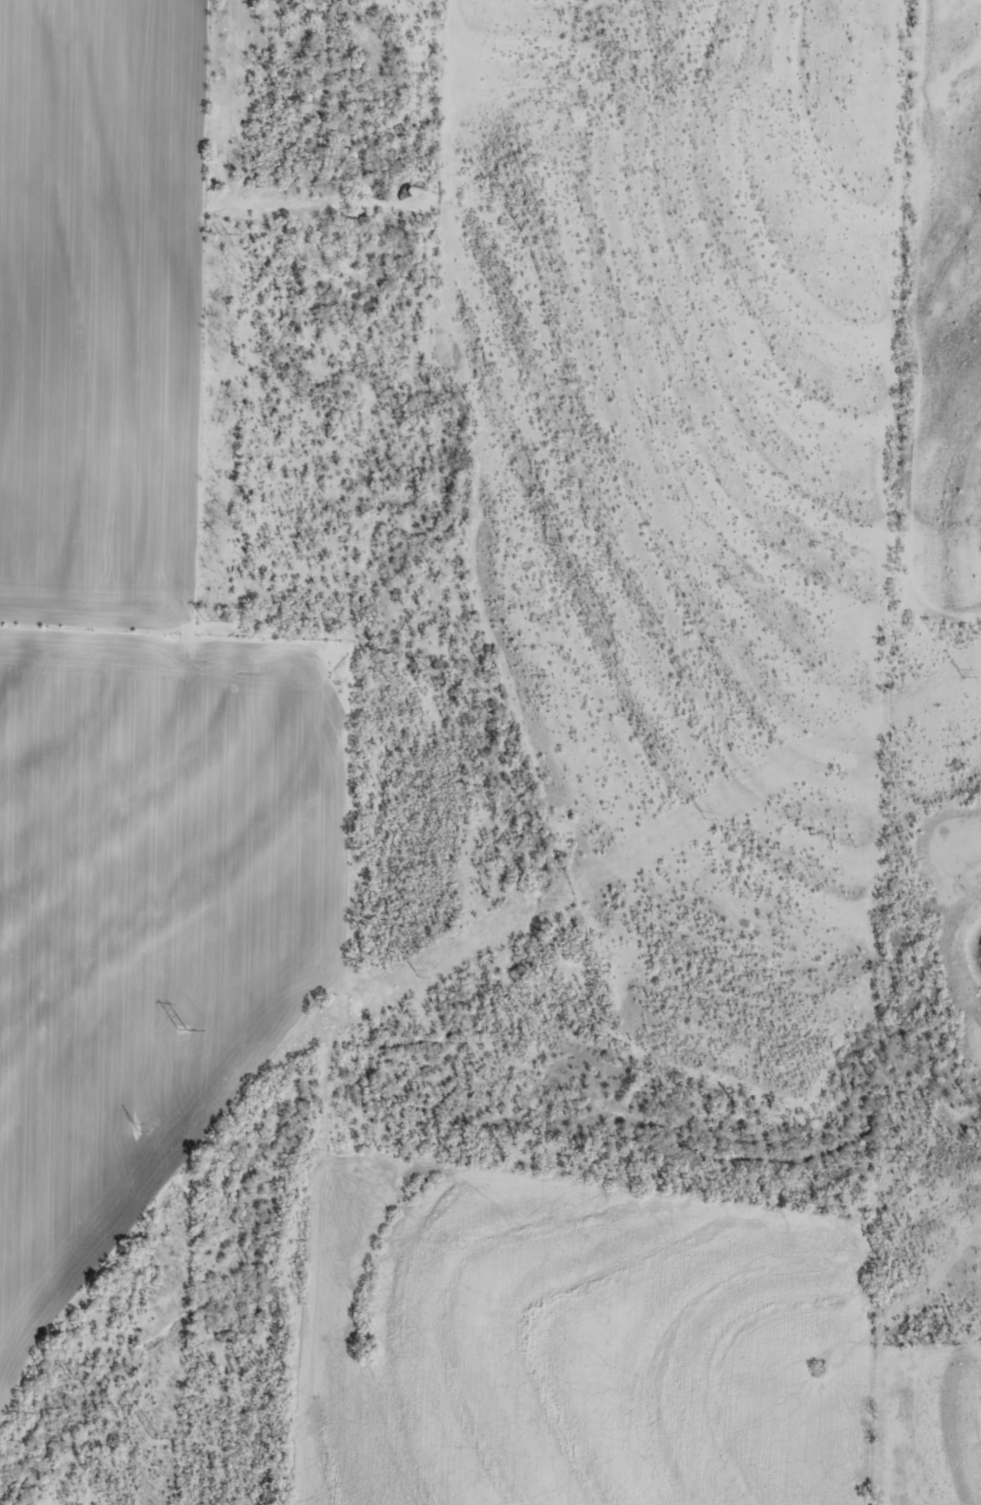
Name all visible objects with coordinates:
power tower: (220, 241)
power tower: (205, 622)
power tower: (960, 674)
power tower: (701, 819)
road: (354, 922)
power tower: (411, 973)
power tower: (182, 1031)
power tower: (137, 1126)
power tower: (152, 1438)

